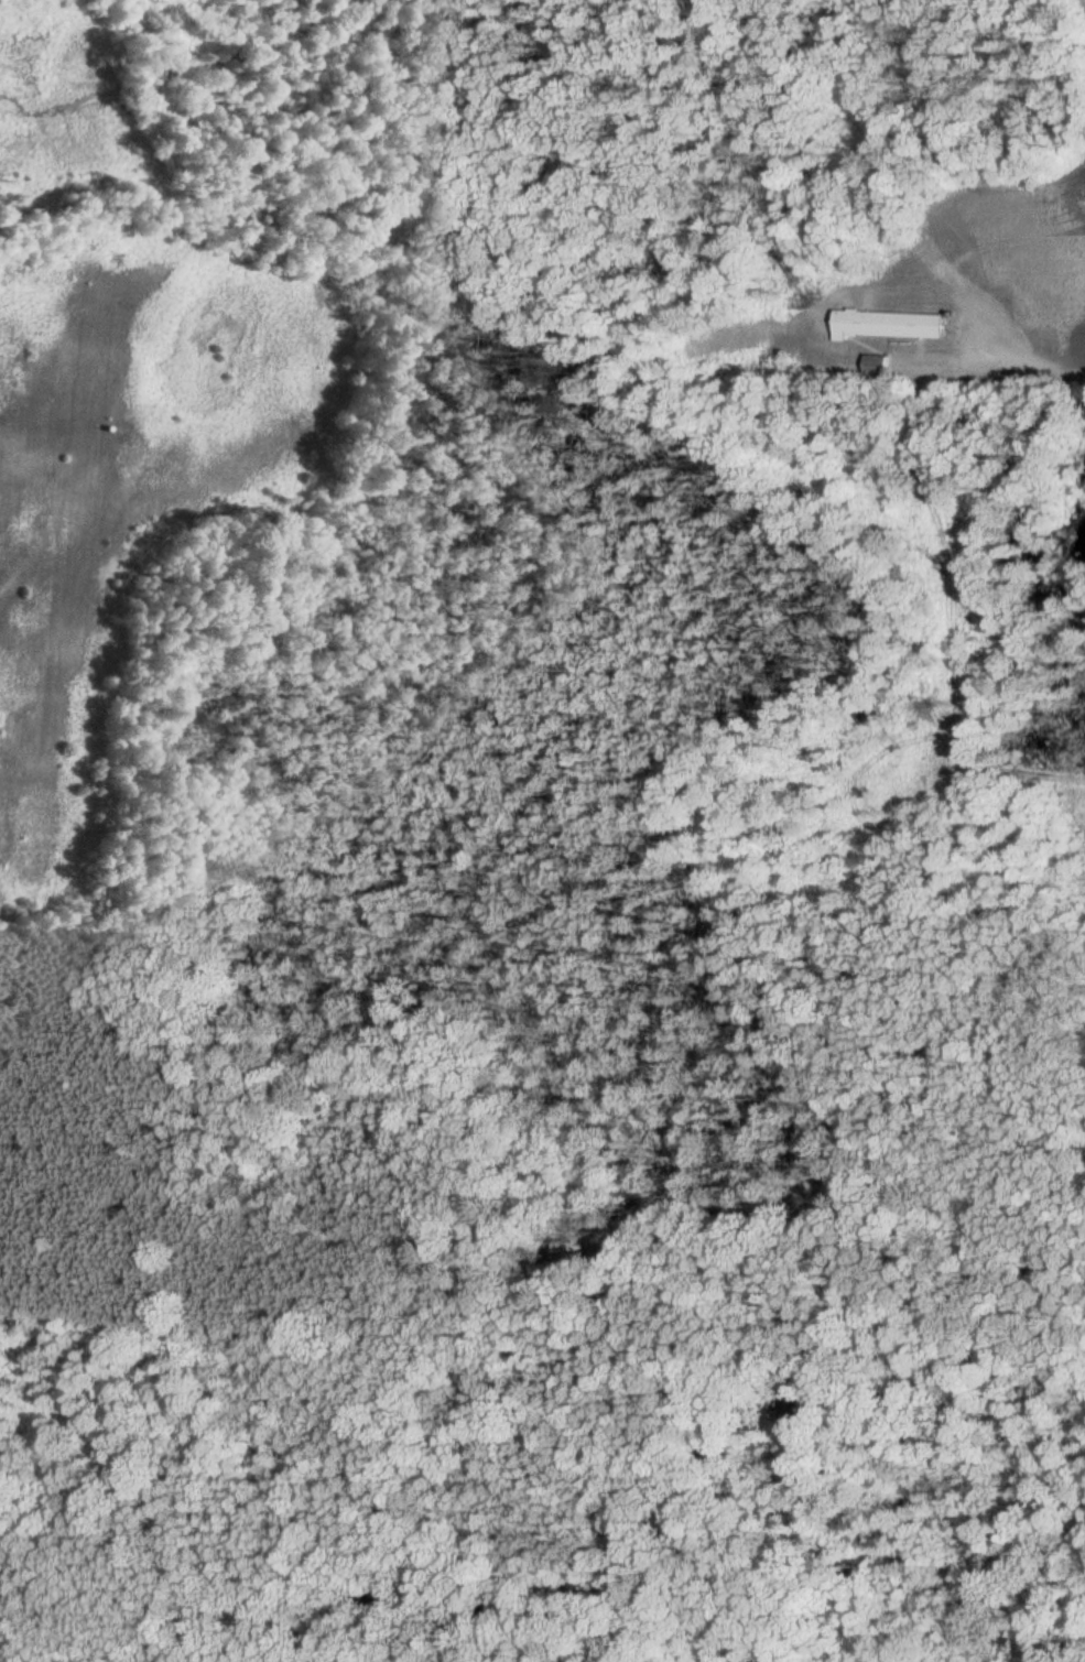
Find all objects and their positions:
building: (893, 328)
building: (881, 368)

